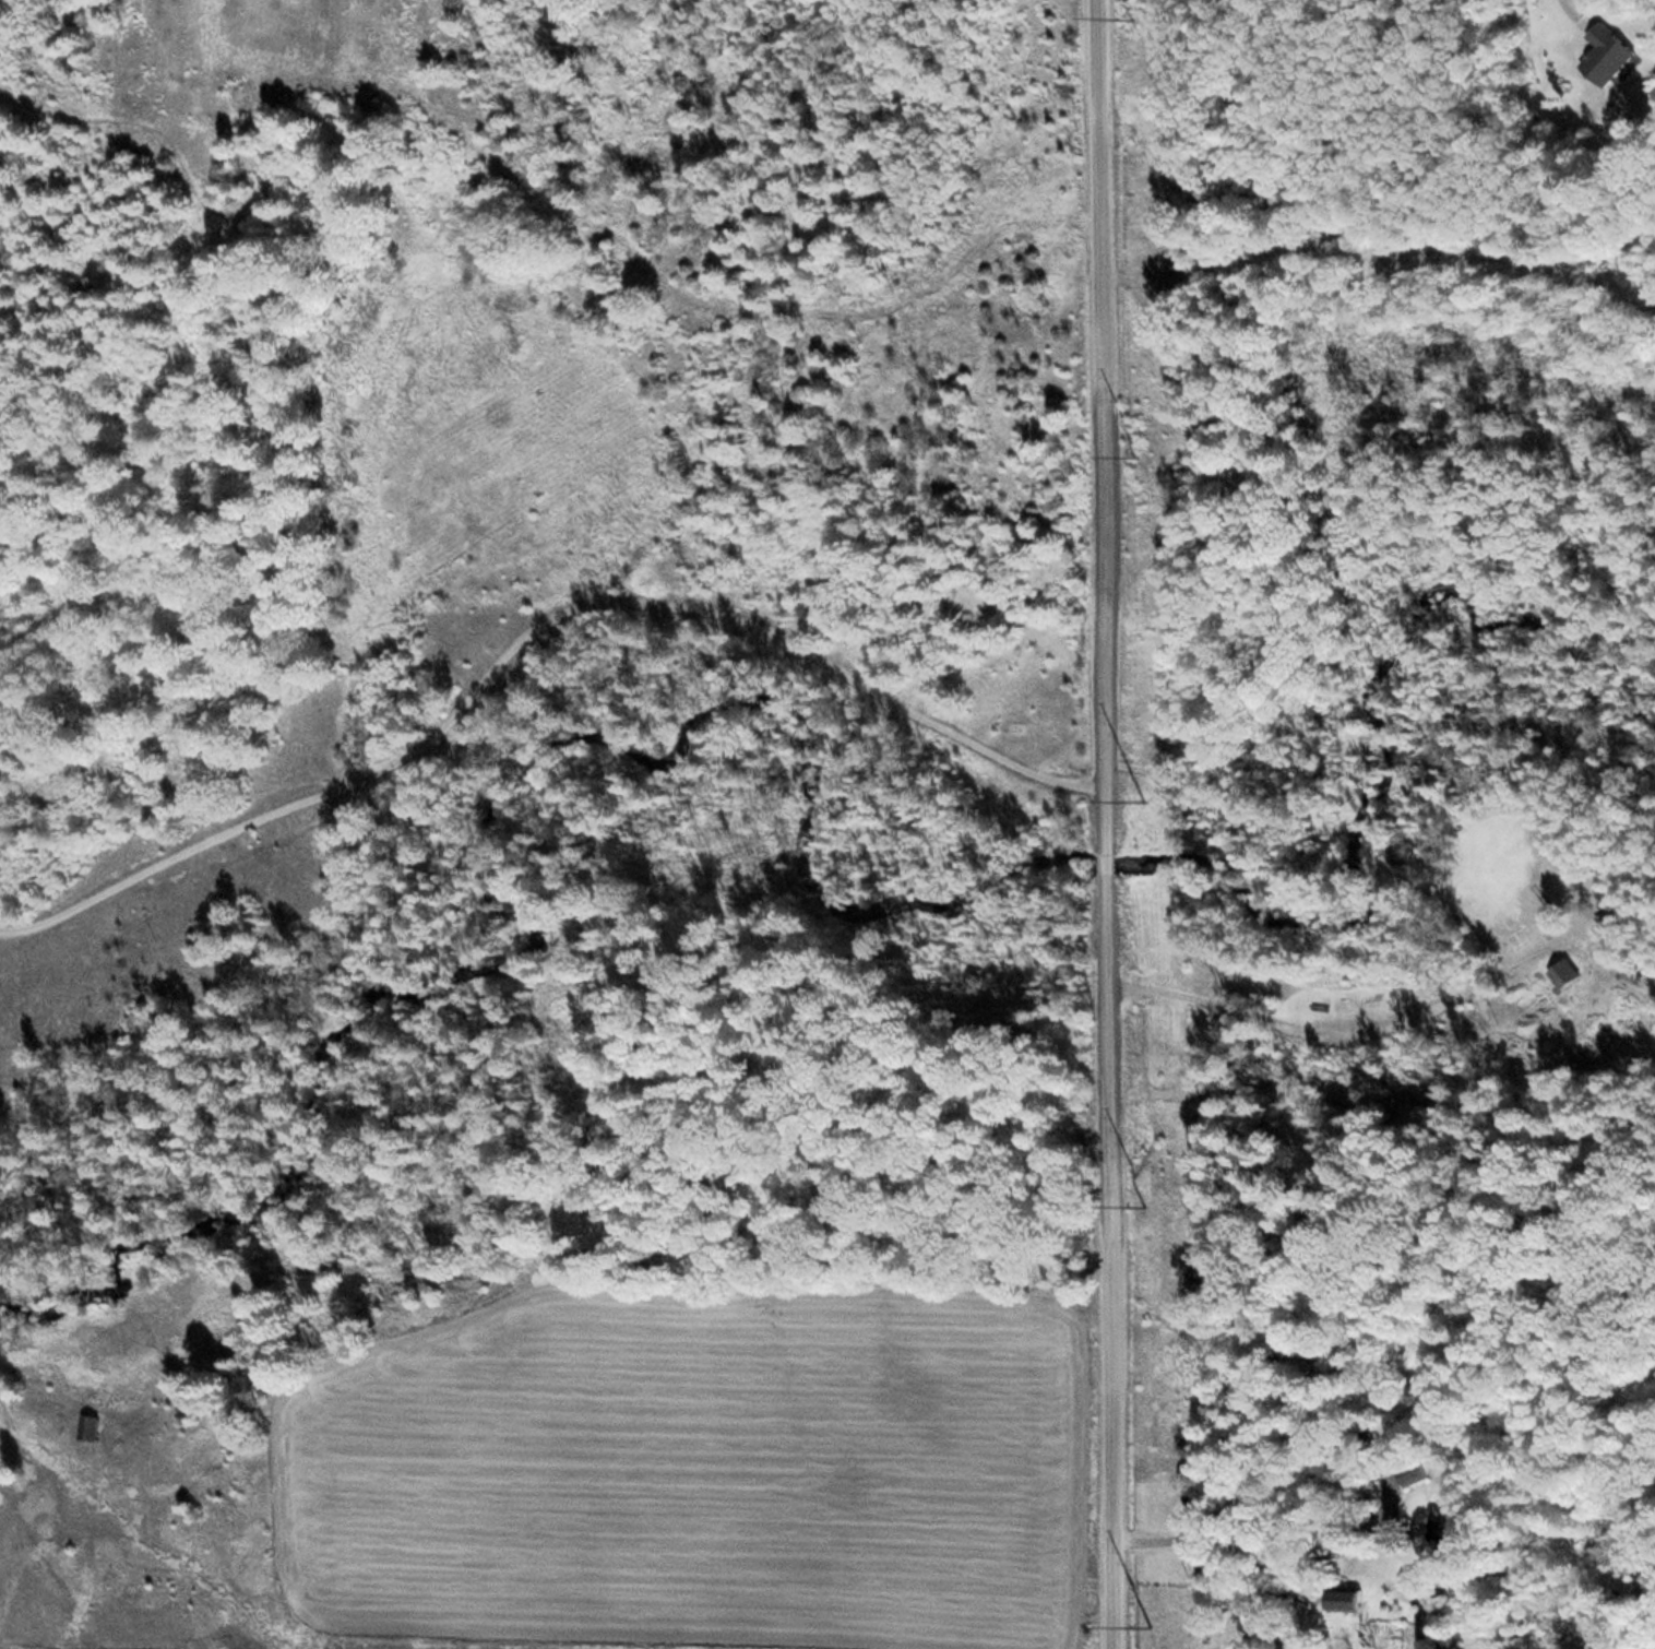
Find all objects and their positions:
building: (1602, 56)
road: (1094, 823)
building: (1630, 976)
road: (785, 1308)
building: (91, 1428)
building: (1403, 1476)
building: (1440, 1533)
building: (1340, 1600)

